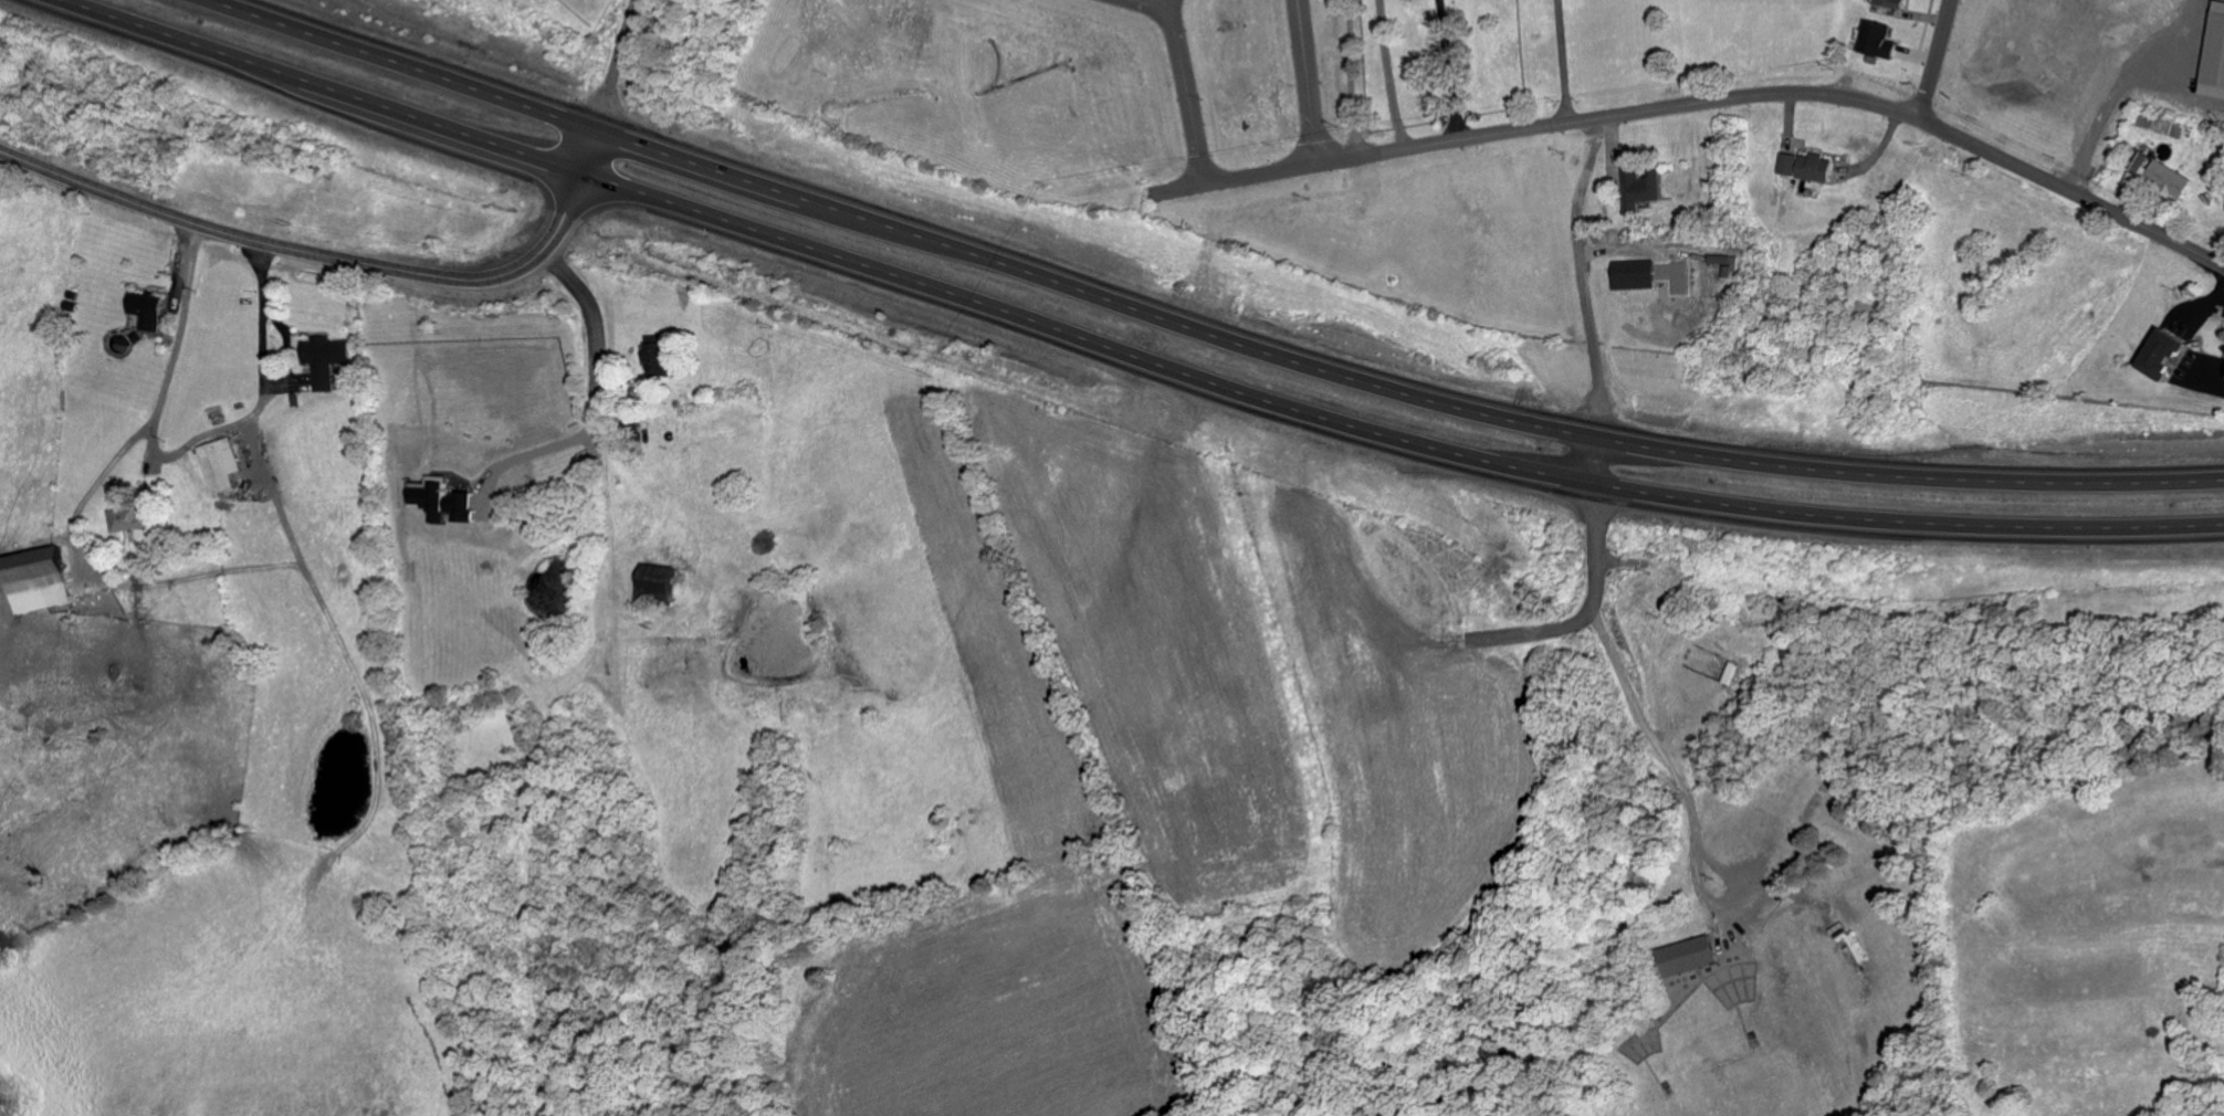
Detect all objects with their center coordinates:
road: (1154, 4)
building: (1892, 4)
building: (1878, 42)
road: (1933, 57)
building: (2215, 60)
road: (1560, 61)
road: (612, 63)
road: (1447, 69)
road: (1353, 77)
road: (1308, 81)
road: (2121, 84)
road: (1186, 91)
road: (1709, 98)
building: (1788, 166)
building: (1816, 169)
building: (2169, 181)
building: (1643, 190)
road: (332, 256)
building: (1710, 264)
building: (1635, 276)
building: (147, 313)
road: (584, 313)
road: (1198, 330)
road: (1123, 356)
building: (2167, 356)
building: (658, 358)
building: (327, 361)
road: (181, 451)
building: (222, 467)
road: (93, 486)
building: (129, 522)
road: (1598, 558)
building: (38, 581)
building: (659, 586)
building: (1687, 958)

